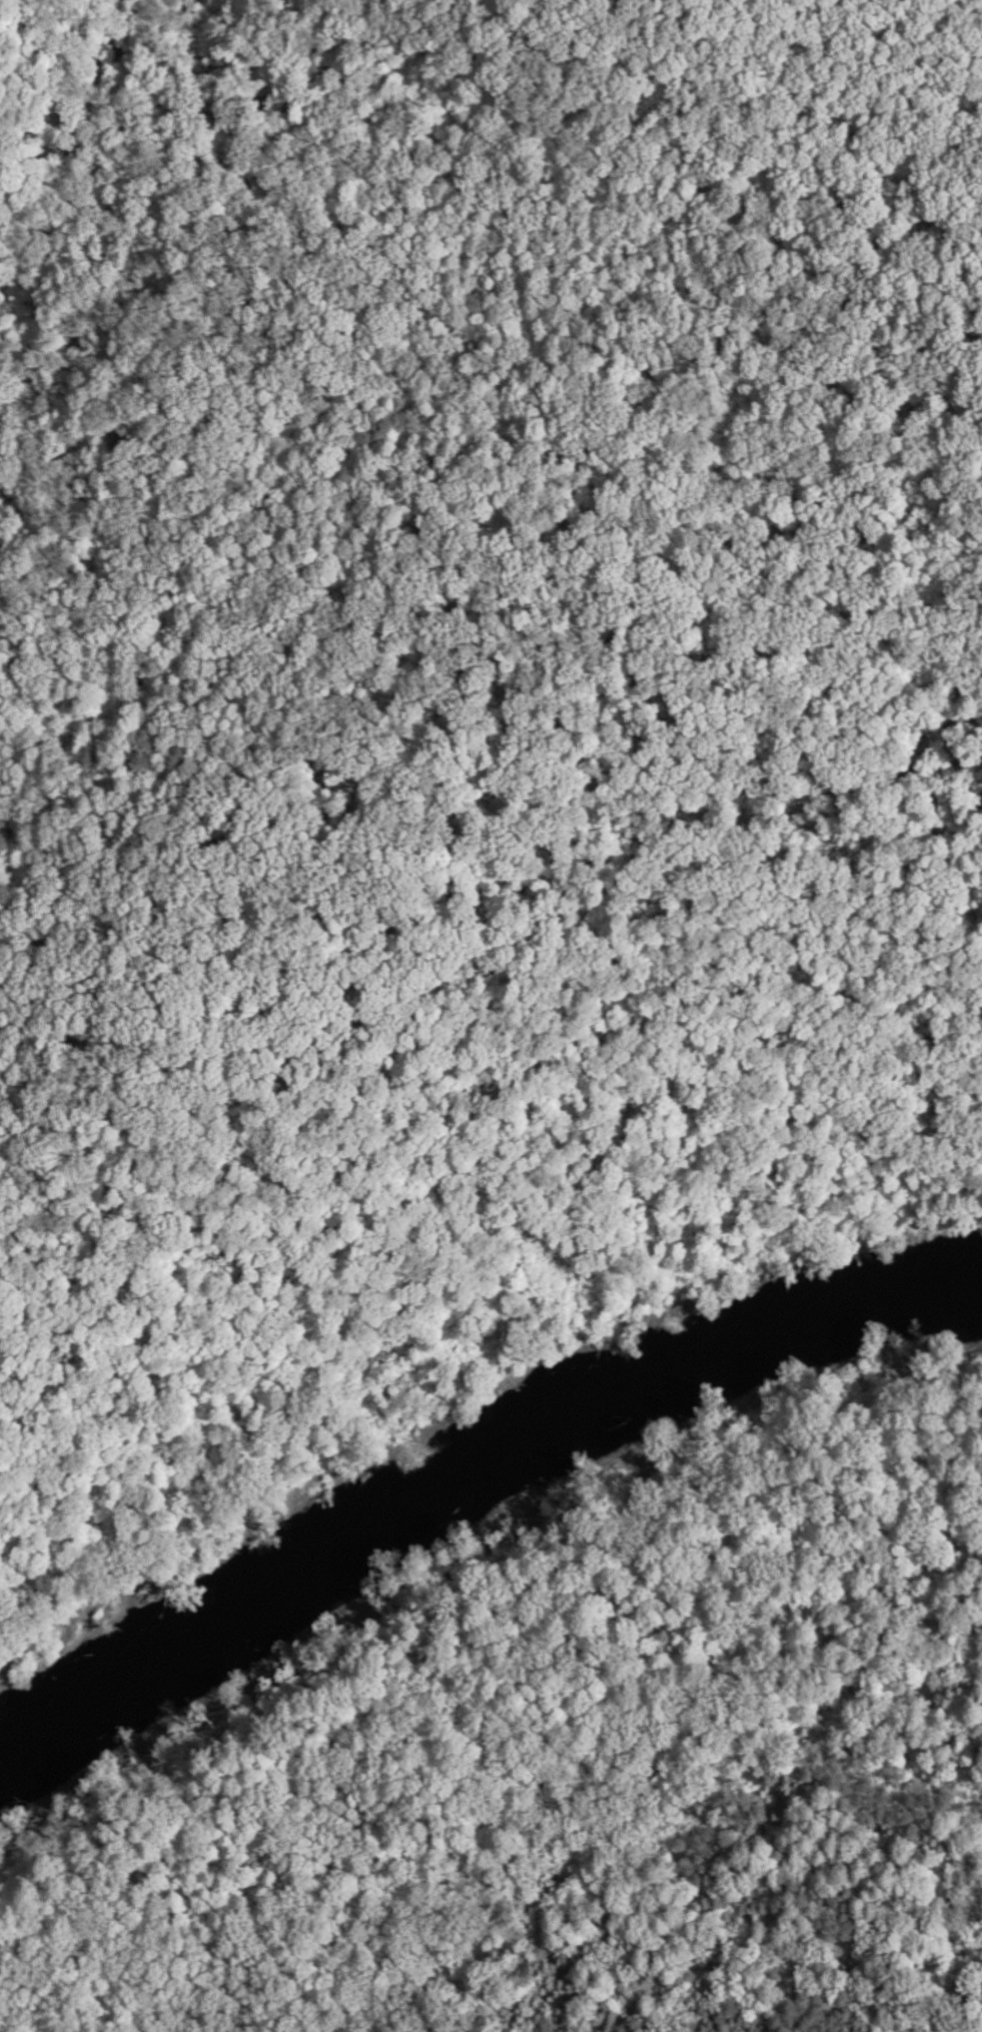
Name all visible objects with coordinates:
road: (52, 280)
road: (517, 970)
river: (468, 1471)

